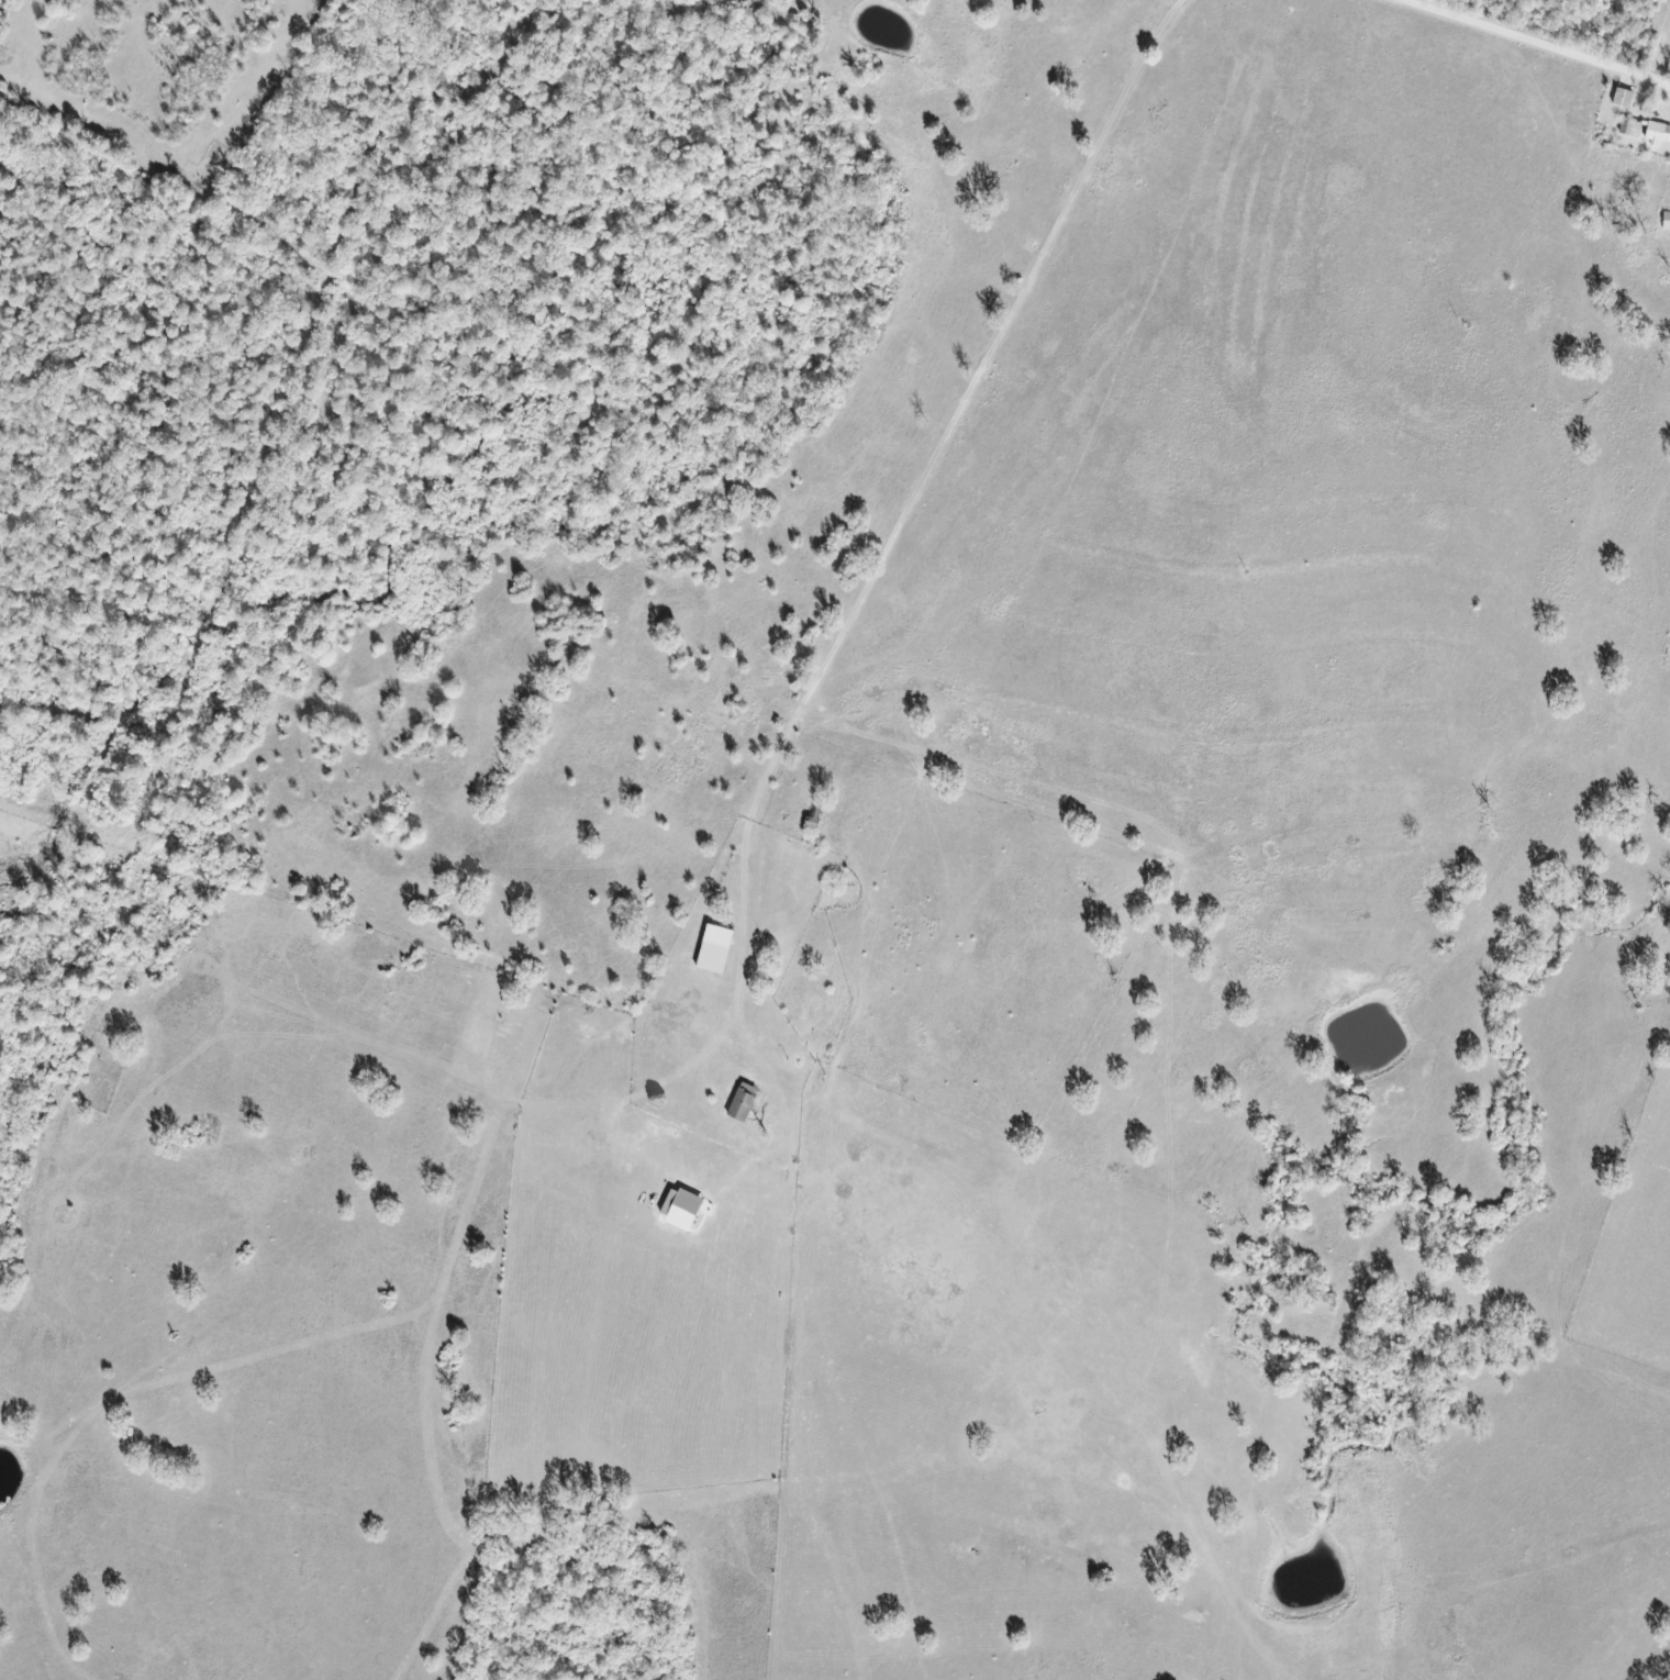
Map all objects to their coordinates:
road: (1529, 38)
building: (1624, 98)
building: (1635, 130)
building: (1659, 133)
building: (1667, 222)
building: (716, 950)
building: (745, 1101)
building: (683, 1208)

